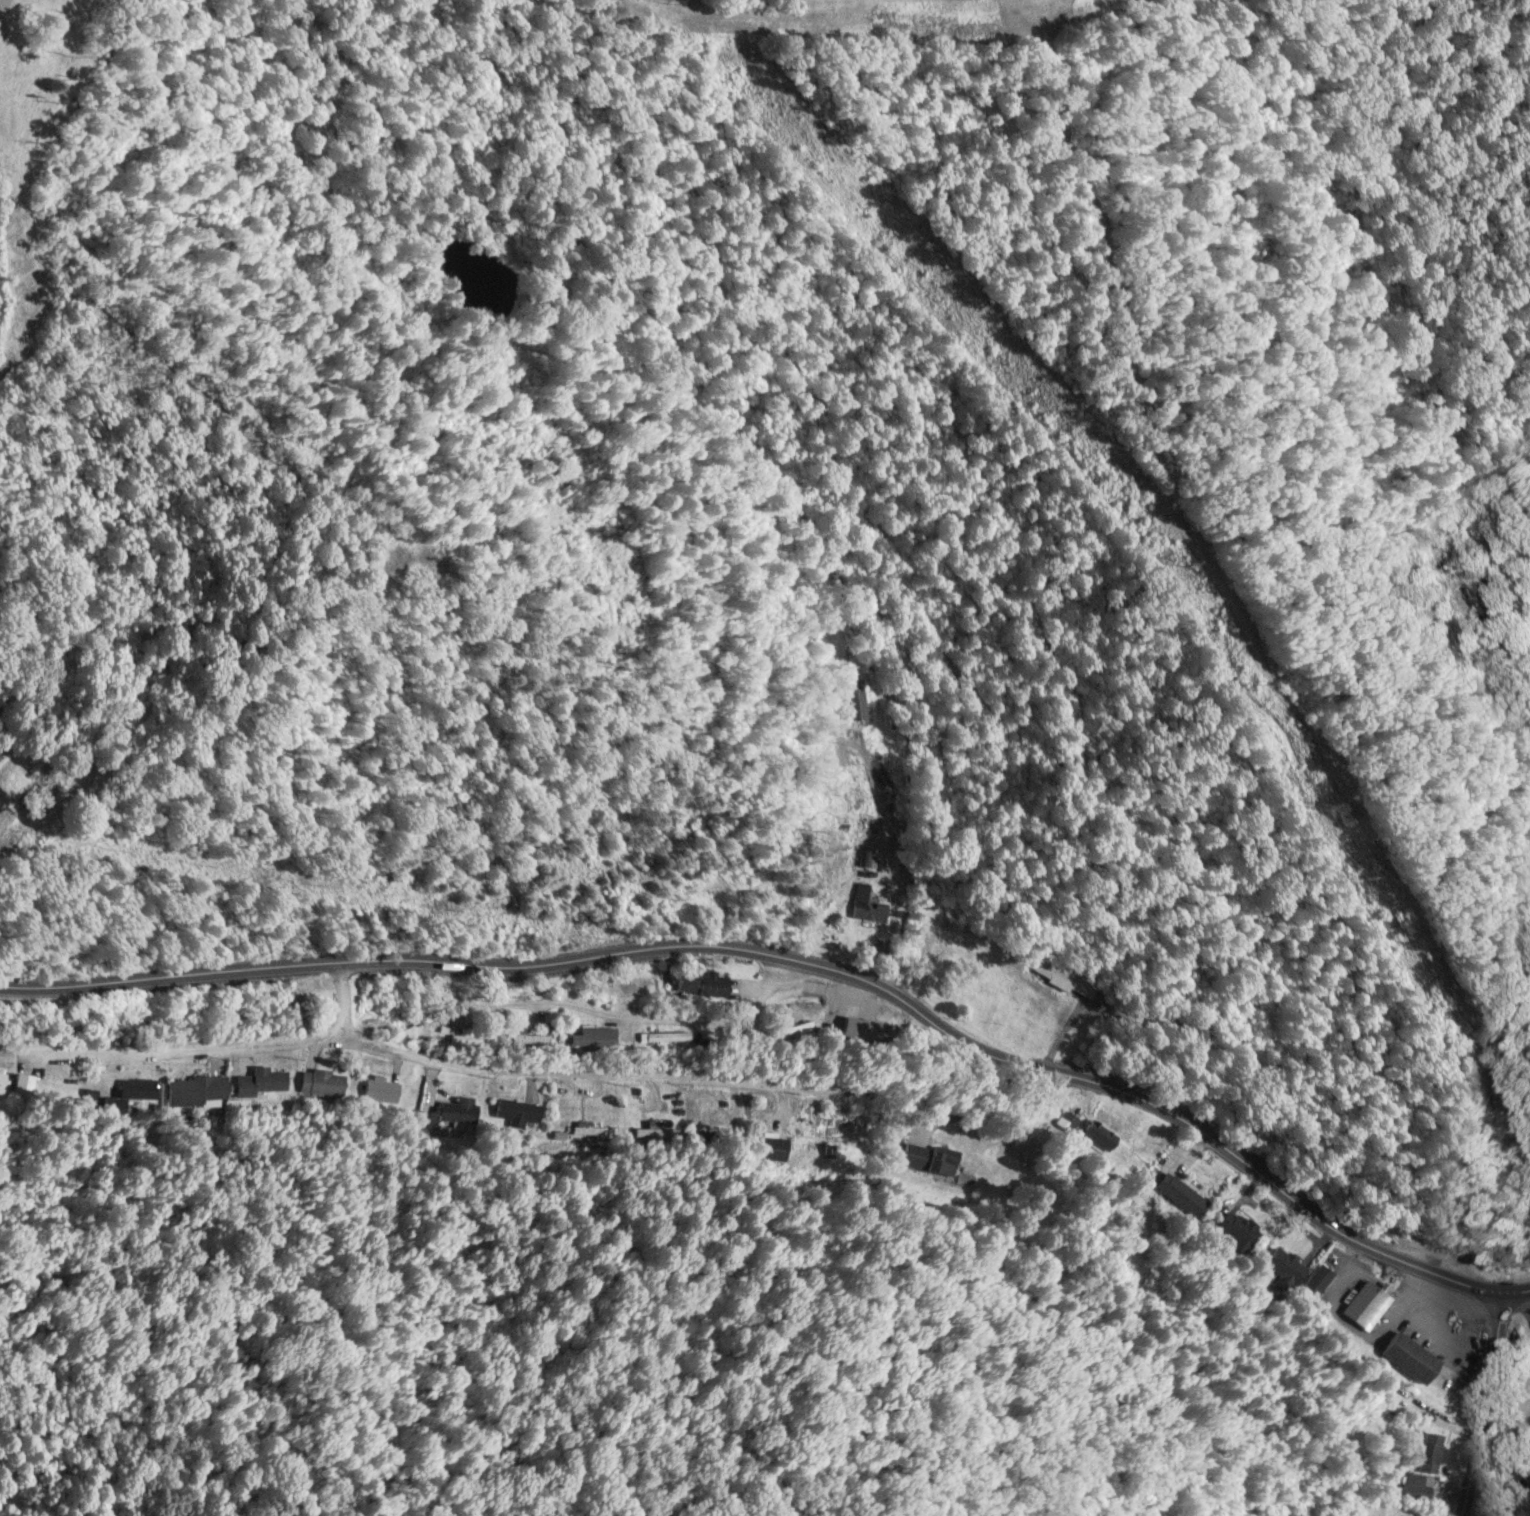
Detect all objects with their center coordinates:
power tower: (1184, 559)
power tower: (1252, 677)
building: (850, 698)
power tower: (1320, 803)
building: (865, 905)
road: (804, 962)
building: (700, 984)
road: (335, 999)
building: (808, 999)
building: (593, 1036)
building: (530, 1037)
building: (473, 1038)
road: (398, 1052)
building: (3, 1081)
building: (259, 1081)
building: (319, 1081)
building: (26, 1083)
building: (138, 1088)
building: (196, 1088)
building: (379, 1090)
building: (458, 1109)
building: (516, 1112)
building: (835, 1127)
building: (1094, 1133)
building: (774, 1148)
building: (1179, 1194)
building: (1236, 1229)
building: (1282, 1265)
building: (1316, 1280)
building: (1363, 1306)
building: (1407, 1357)
road: (1479, 1404)
building: (1427, 1452)
building: (1415, 1488)

